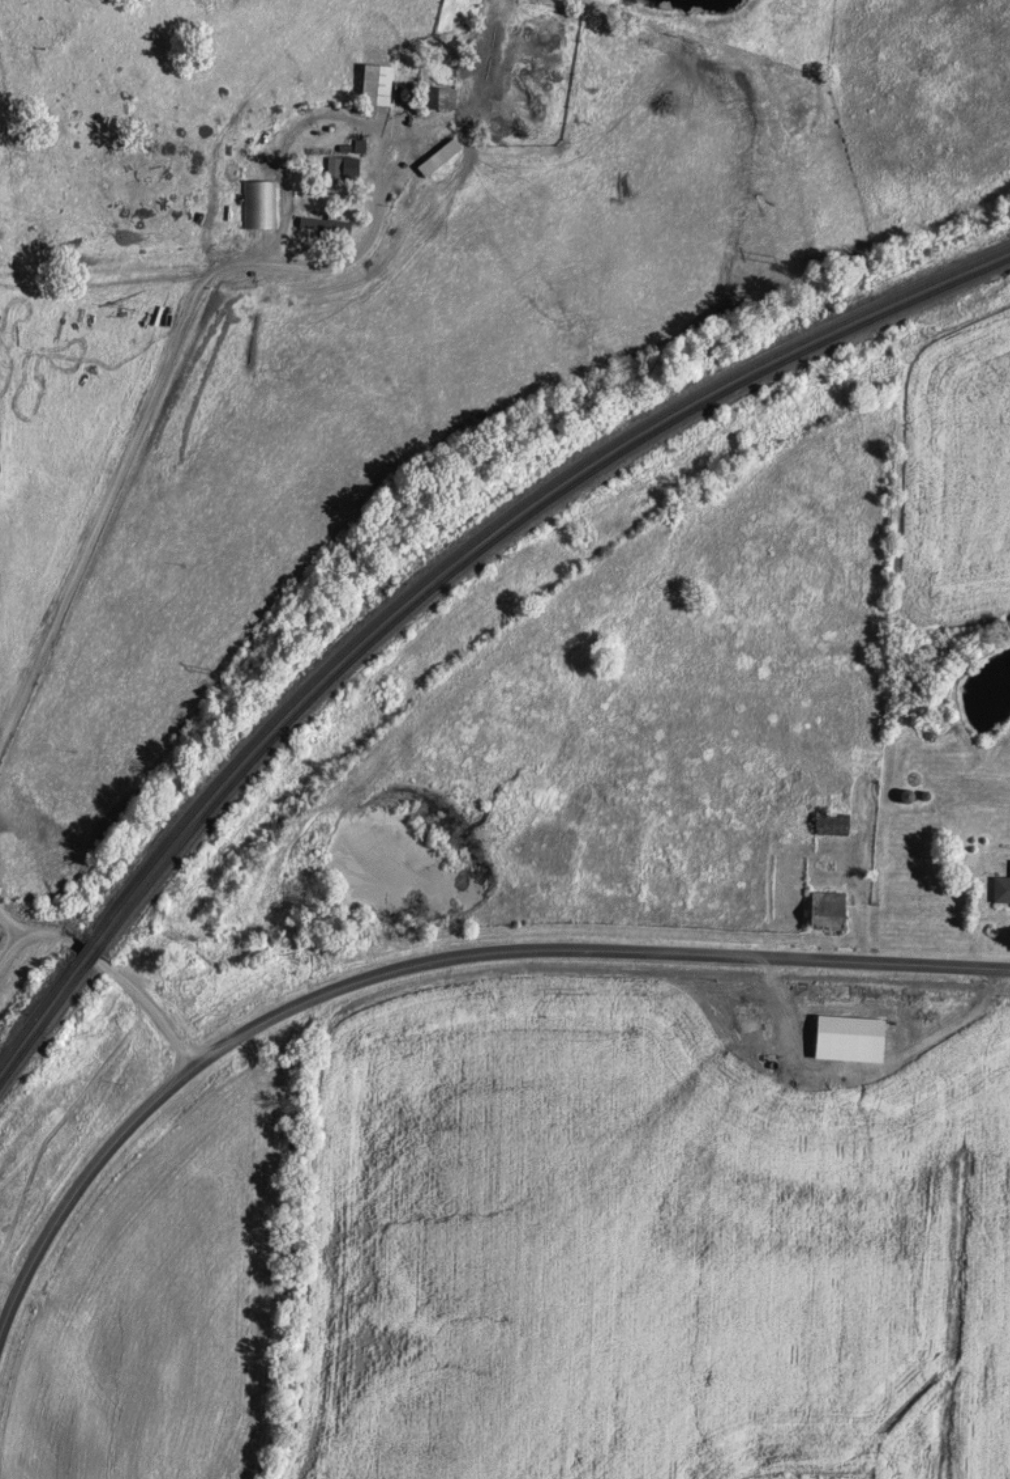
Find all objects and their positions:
building: (370, 85)
building: (433, 98)
building: (433, 157)
building: (344, 168)
building: (256, 204)
building: (320, 225)
road: (165, 368)
railway: (435, 568)
railway: (436, 583)
building: (901, 796)
building: (826, 823)
building: (999, 888)
building: (820, 911)
road: (11, 924)
road: (33, 937)
road: (422, 958)
road: (147, 1004)
building: (765, 1031)
building: (831, 1031)
road: (867, 1065)

